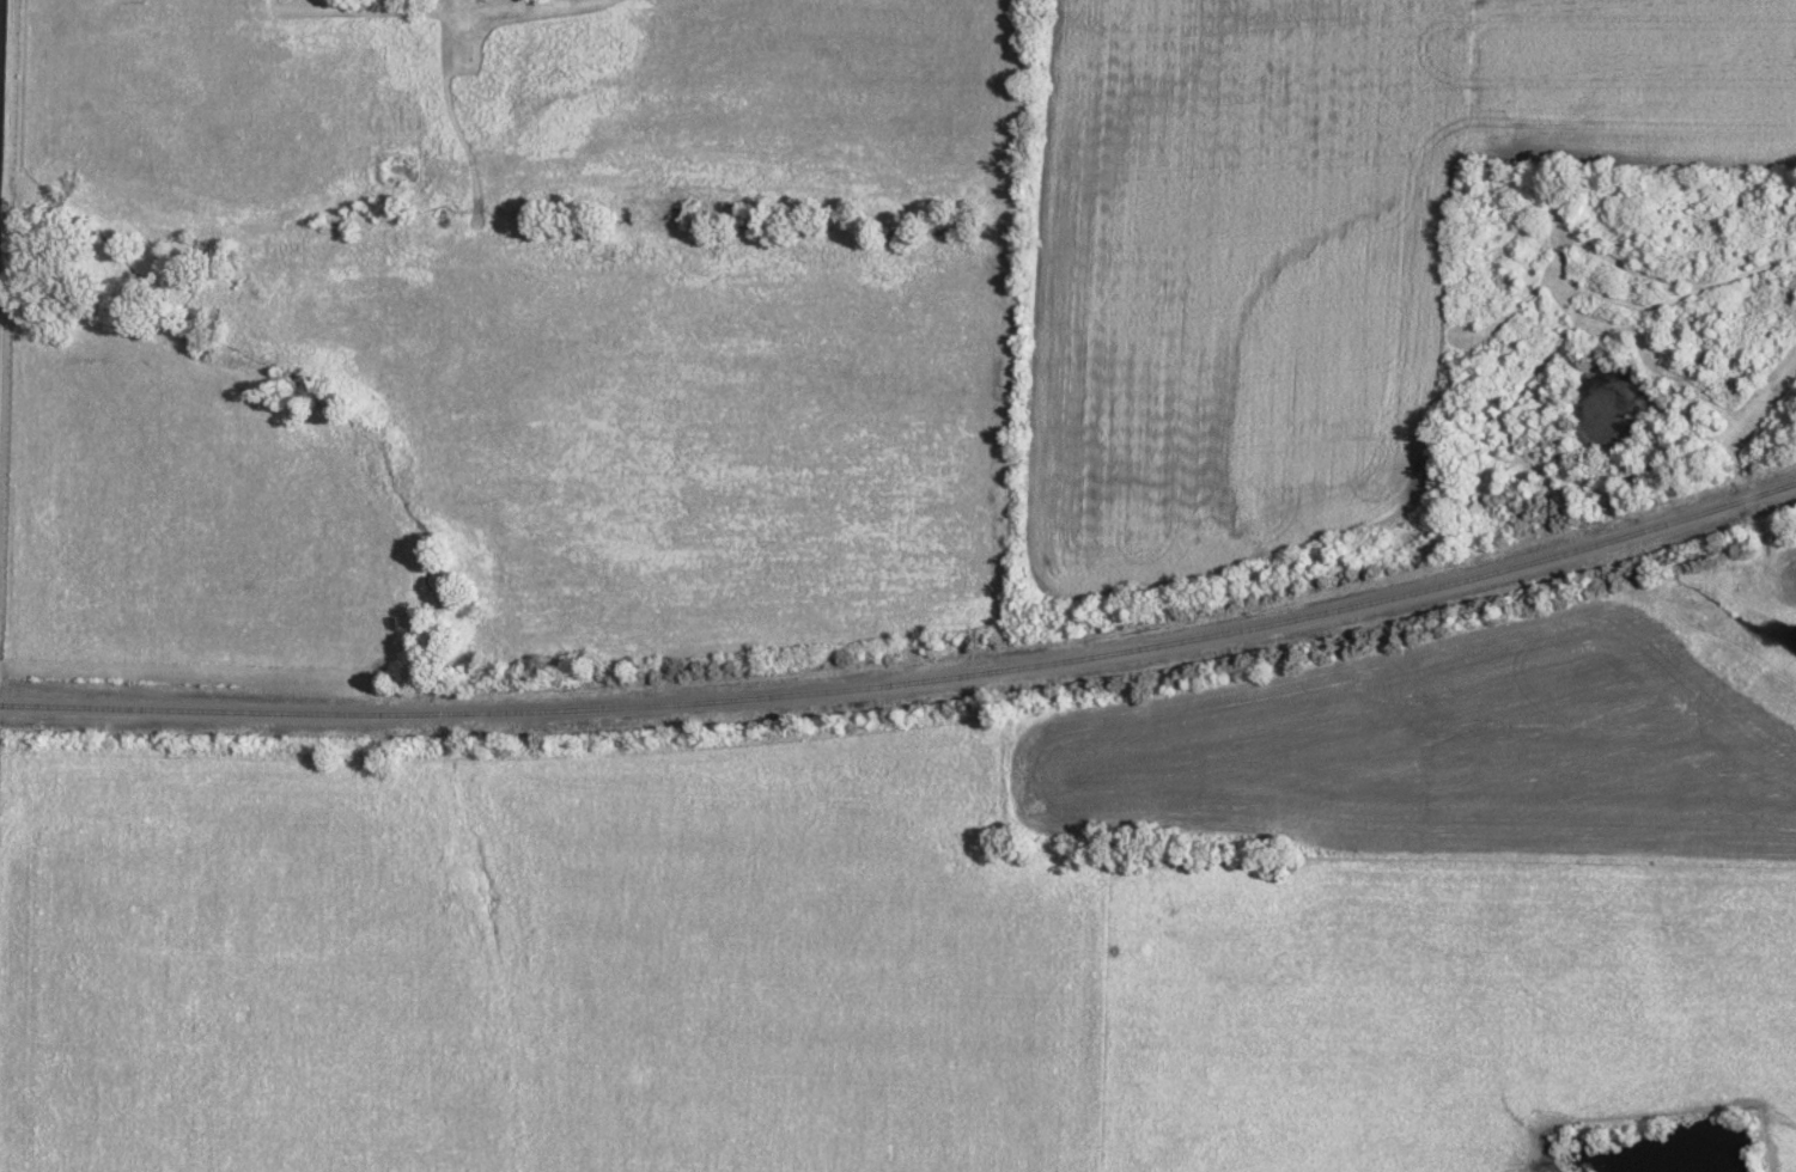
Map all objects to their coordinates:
railway: (907, 663)

